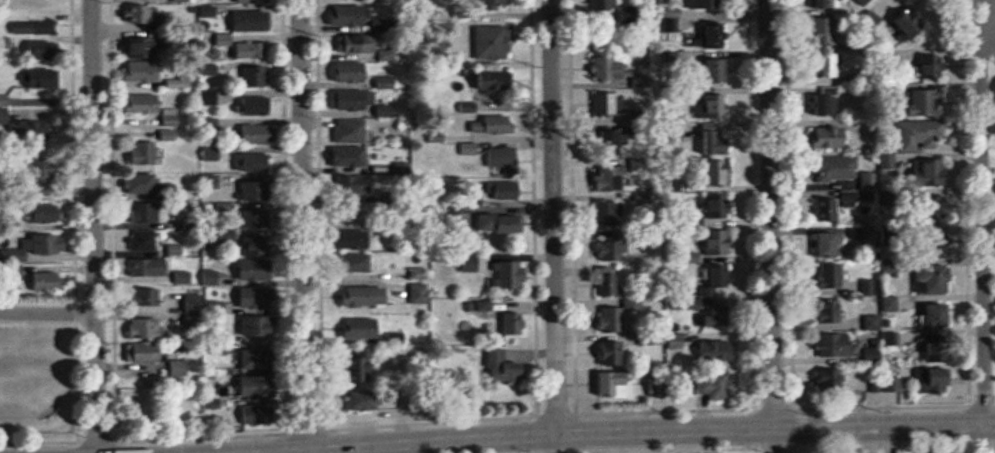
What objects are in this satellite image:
building: (254, 1)
building: (722, 3)
building: (819, 3)
building: (608, 5)
building: (42, 6)
building: (141, 15)
building: (350, 15)
building: (251, 21)
building: (35, 27)
building: (826, 30)
building: (491, 39)
building: (356, 43)
building: (42, 47)
building: (152, 47)
building: (248, 50)
building: (621, 65)
building: (830, 65)
building: (930, 65)
building: (143, 71)
building: (352, 72)
building: (45, 78)
building: (252, 78)
building: (489, 80)
building: (179, 81)
building: (209, 97)
building: (357, 99)
building: (828, 100)
building: (612, 102)
building: (927, 102)
building: (709, 105)
building: (256, 106)
building: (152, 107)
building: (4, 109)
building: (499, 124)
building: (351, 130)
building: (35, 131)
building: (169, 134)
building: (258, 134)
building: (920, 134)
building: (831, 136)
building: (710, 137)
building: (624, 139)
building: (148, 153)
building: (211, 153)
building: (349, 156)
building: (252, 162)
building: (839, 166)
building: (931, 174)
building: (610, 178)
building: (869, 179)
building: (212, 181)
building: (148, 184)
building: (360, 184)
building: (508, 189)
building: (937, 202)
building: (47, 212)
building: (146, 212)
building: (609, 212)
building: (500, 222)
road: (94, 226)
road: (303, 226)
road: (553, 226)
road: (773, 226)
road: (980, 226)
building: (352, 238)
building: (144, 240)
building: (717, 243)
building: (831, 243)
building: (36, 247)
building: (609, 247)
building: (157, 266)
building: (492, 269)
building: (835, 275)
building: (185, 276)
building: (211, 277)
building: (934, 278)
building: (723, 280)
building: (49, 281)
building: (611, 282)
building: (867, 286)
building: (366, 295)
building: (167, 302)
building: (832, 312)
building: (937, 314)
building: (719, 316)
building: (612, 319)
building: (873, 321)
building: (515, 323)
building: (146, 327)
building: (363, 328)
building: (678, 341)
building: (835, 344)
building: (717, 350)
building: (149, 352)
building: (611, 352)
building: (493, 357)
building: (371, 365)
building: (180, 368)
building: (842, 380)
building: (937, 380)
building: (258, 385)
building: (615, 385)
building: (717, 386)
building: (366, 400)
building: (259, 414)
road: (643, 433)

